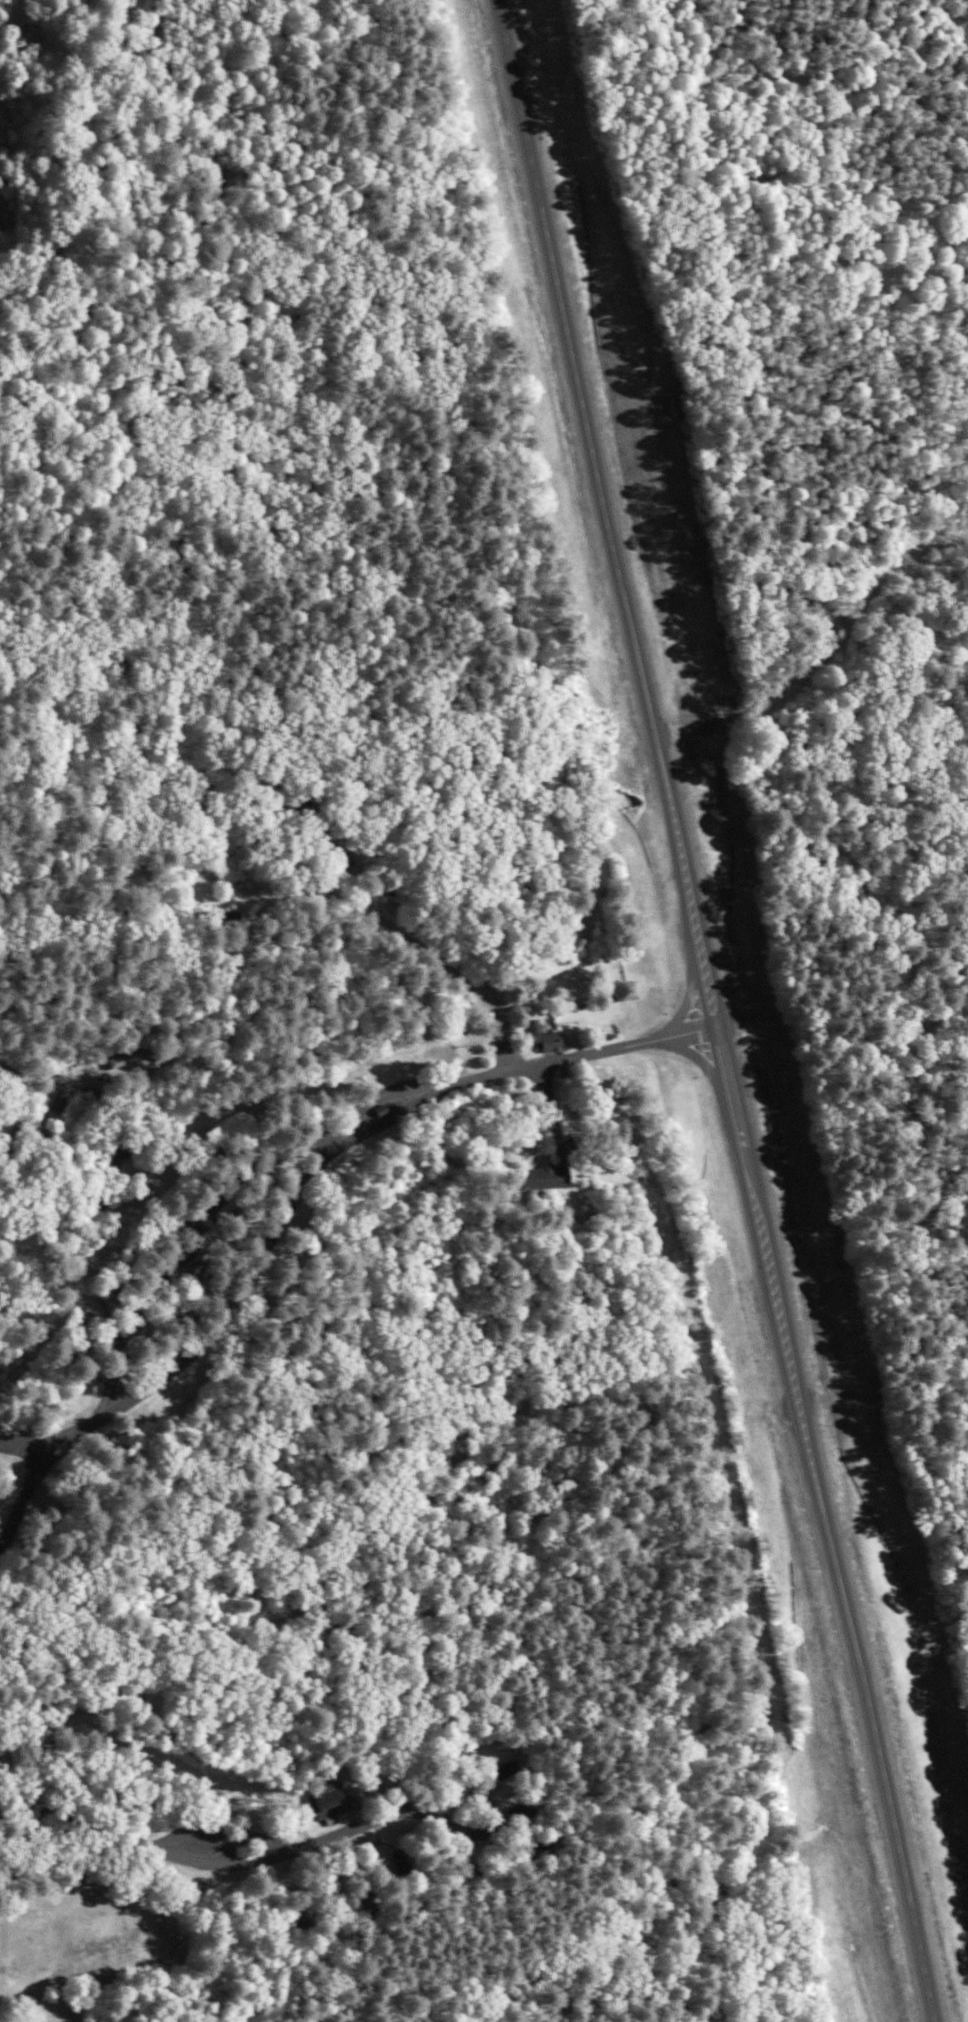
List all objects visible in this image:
road: (87, 166)
building: (216, 917)
road: (421, 932)
road: (691, 991)
road: (715, 1009)
park: (484, 1011)
building: (537, 1039)
road: (702, 1061)
building: (537, 1178)
road: (301, 1184)
road: (23, 1446)
building: (503, 1772)
building: (324, 1800)
road: (497, 1820)
road: (221, 1829)
road: (204, 1866)

